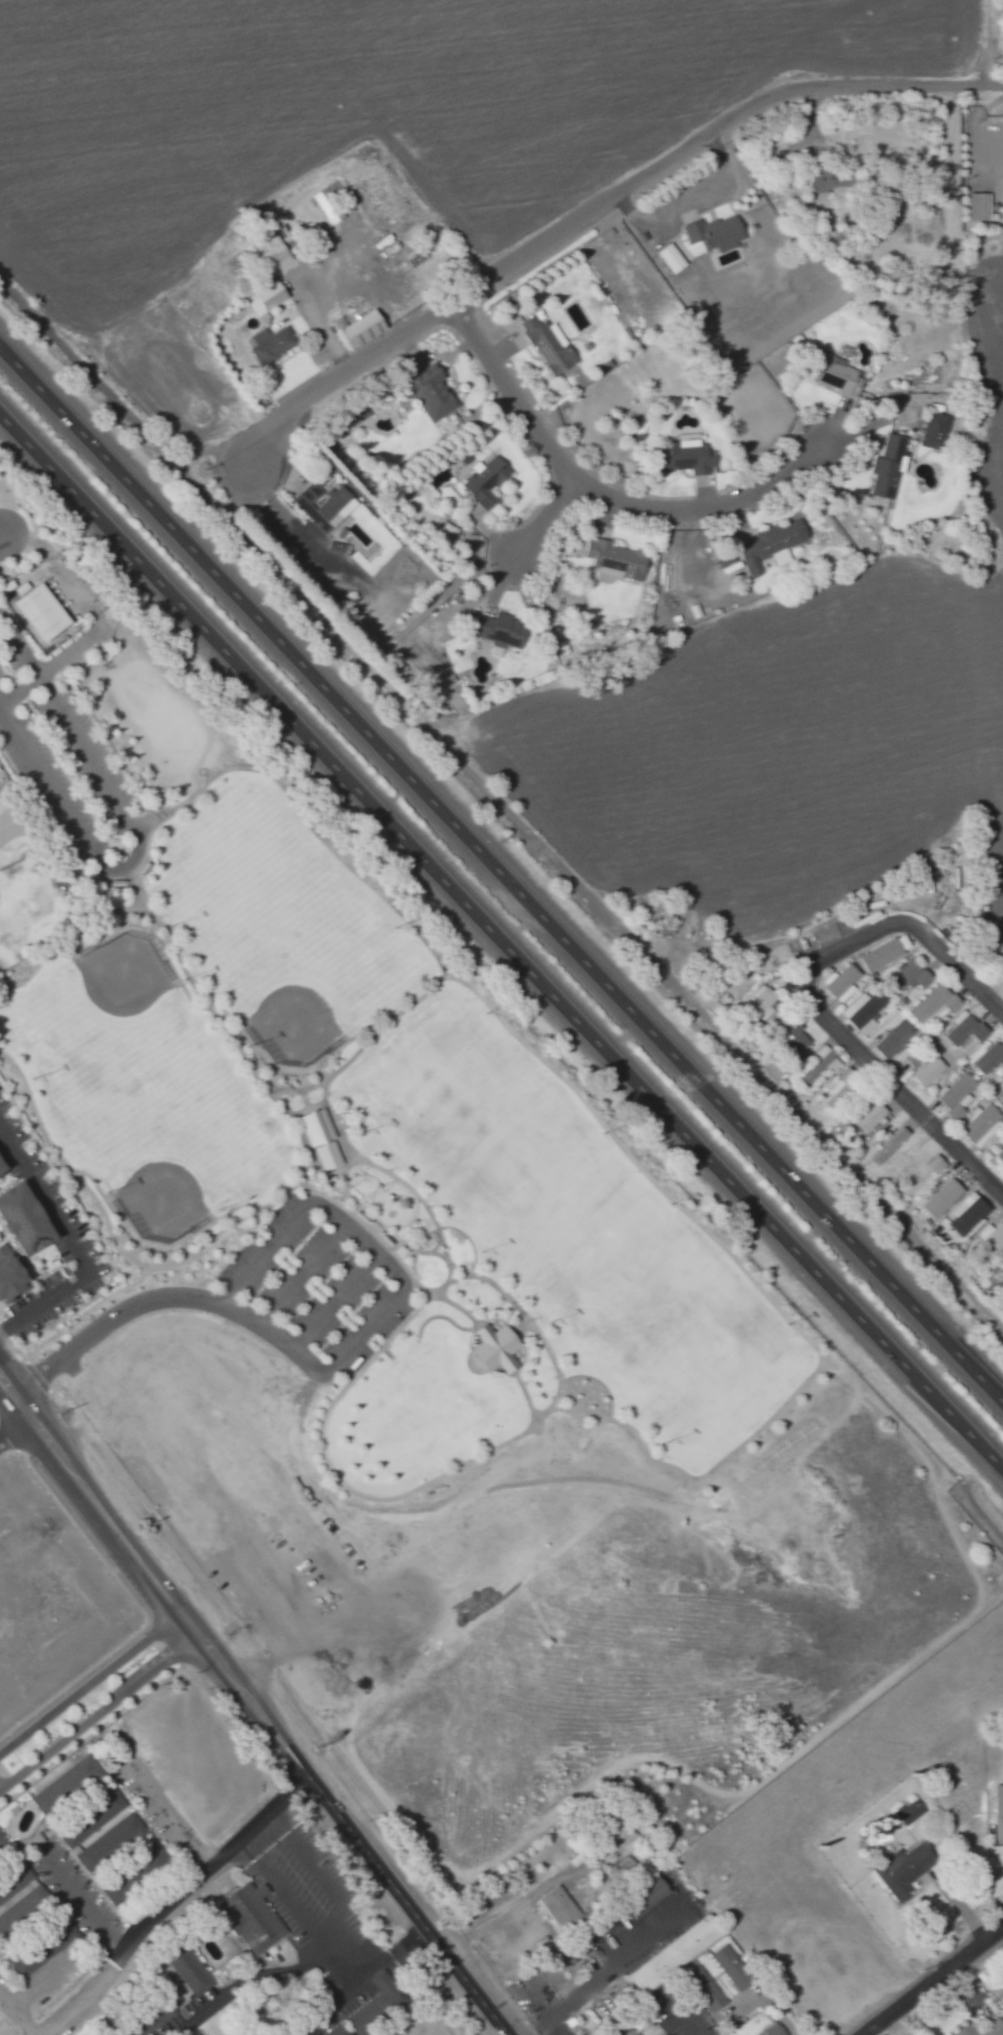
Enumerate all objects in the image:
road: (981, 42)
building: (835, 180)
building: (813, 182)
road: (603, 205)
building: (327, 206)
building: (975, 206)
building: (711, 235)
building: (275, 255)
building: (668, 258)
road: (338, 292)
building: (268, 298)
building: (365, 328)
building: (273, 344)
building: (551, 345)
building: (830, 373)
building: (434, 394)
building: (932, 431)
building: (683, 455)
building: (887, 466)
building: (487, 481)
road: (593, 501)
building: (325, 506)
road: (542, 527)
road: (0, 533)
road: (31, 543)
building: (766, 547)
building: (615, 560)
building: (43, 612)
building: (424, 649)
road: (43, 671)
road: (500, 804)
road: (178, 810)
road: (132, 832)
building: (10, 835)
road: (54, 839)
road: (501, 883)
road: (906, 925)
road: (65, 941)
road: (501, 946)
park: (299, 974)
building: (908, 977)
building: (839, 982)
building: (1002, 983)
building: (757, 1005)
building: (931, 1006)
building: (864, 1010)
park: (109, 1024)
building: (963, 1031)
building: (792, 1038)
building: (891, 1039)
road: (362, 1045)
building: (910, 1058)
building: (988, 1059)
building: (818, 1062)
building: (926, 1073)
building: (838, 1083)
road: (291, 1091)
building: (953, 1095)
road: (901, 1096)
road: (302, 1098)
building: (865, 1114)
building: (977, 1124)
park: (480, 1128)
building: (318, 1139)
building: (998, 1150)
park: (170, 1151)
building: (933, 1165)
road: (415, 1195)
building: (940, 1199)
road: (353, 1203)
building: (16, 1220)
road: (350, 1232)
road: (113, 1240)
road: (73, 1242)
building: (988, 1242)
building: (1000, 1270)
building: (6, 1274)
road: (444, 1285)
road: (283, 1291)
road: (332, 1301)
park: (418, 1303)
road: (106, 1320)
park: (667, 1322)
road: (72, 1323)
building: (491, 1347)
road: (34, 1376)
road: (15, 1427)
road: (637, 1436)
road: (7, 1439)
road: (132, 1602)
road: (164, 1642)
road: (89, 1683)
road: (268, 1689)
road: (251, 1705)
road: (99, 1712)
road: (229, 1730)
road: (93, 1731)
building: (905, 1812)
building: (997, 1812)
building: (90, 1817)
building: (610, 1825)
road: (258, 1831)
building: (107, 1843)
road: (259, 1861)
building: (902, 1868)
parking lot: (311, 1896)
building: (640, 1897)
road: (166, 1898)
building: (556, 1907)
building: (248, 1917)
building: (41, 1947)
road: (385, 1954)
building: (671, 1954)
building: (186, 1968)
building: (729, 1968)
road: (289, 1969)
road: (605, 1972)
road: (934, 1982)
building: (1002, 1985)
building: (702, 1989)
road: (947, 1991)
road: (517, 2011)
building: (365, 2014)
building: (145, 2018)
road: (682, 2023)
building: (979, 2029)
building: (338, 2031)
building: (772, 2031)
building: (627, 2032)

